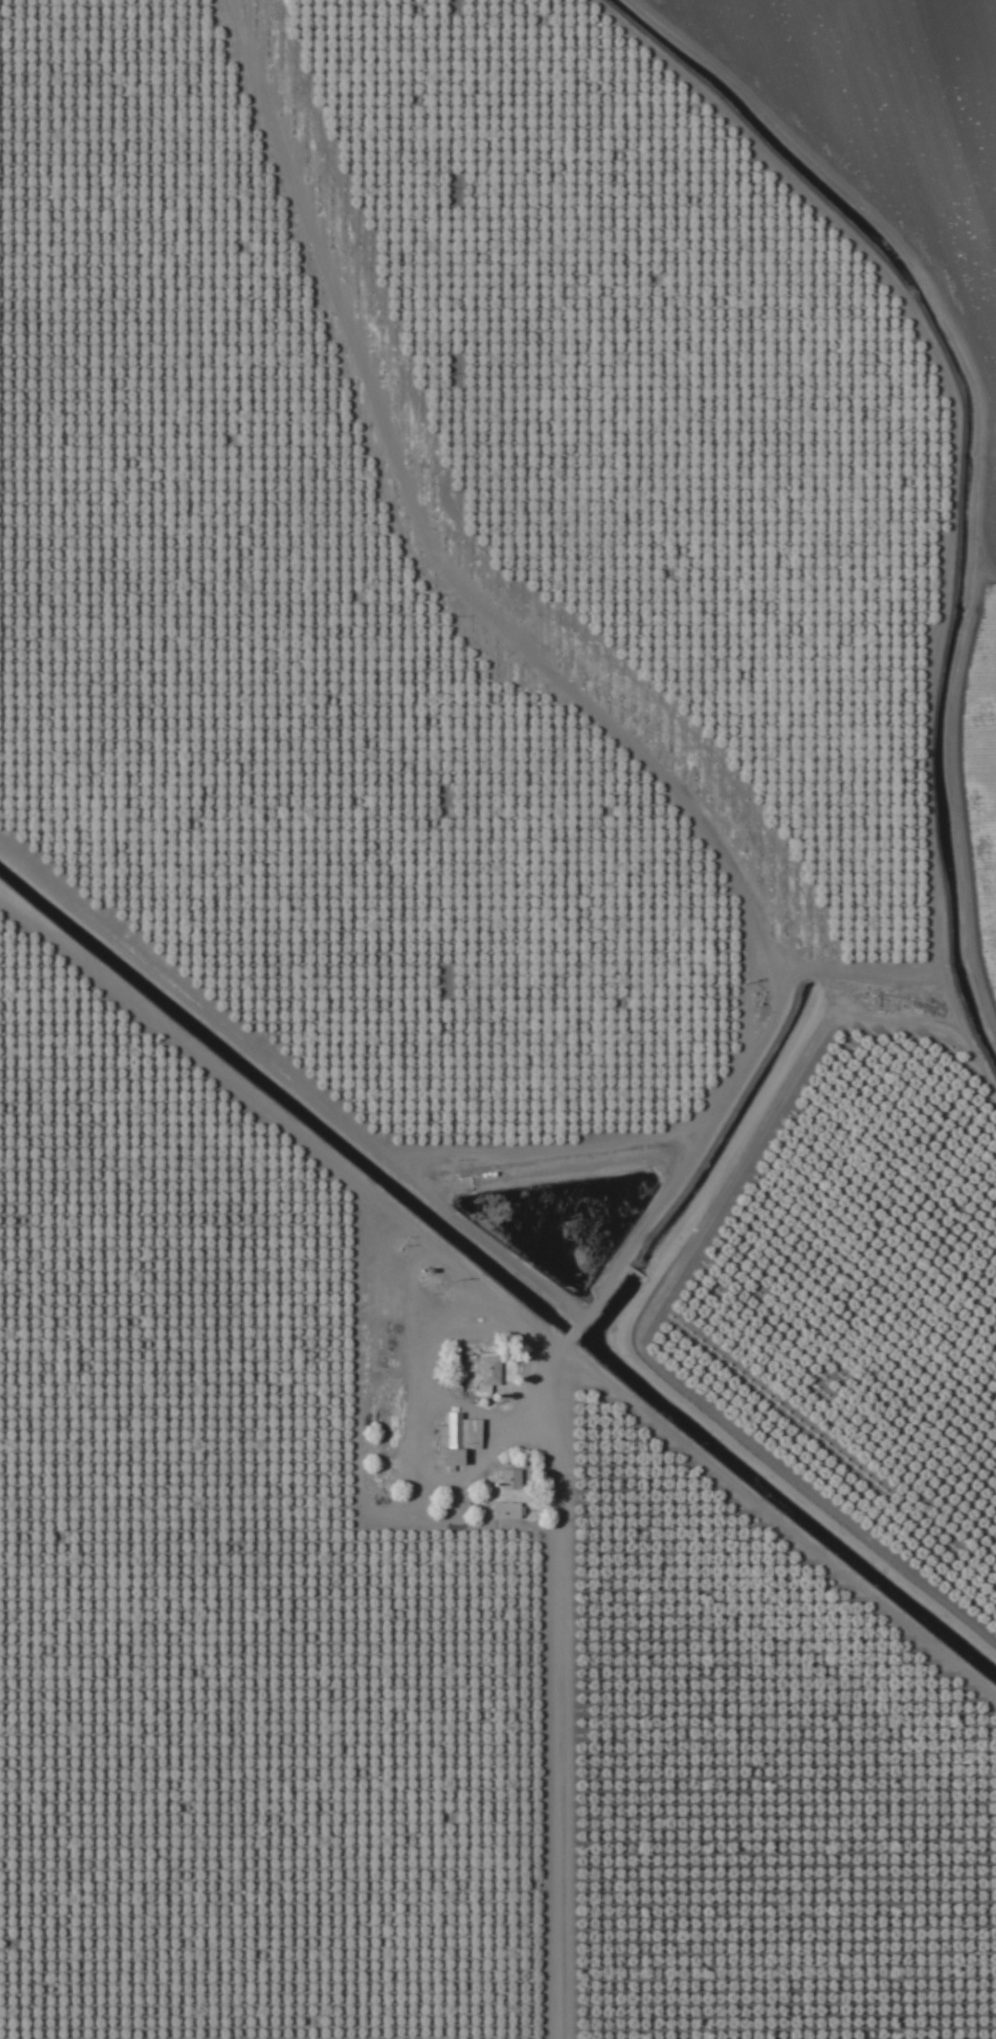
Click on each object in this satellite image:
road: (785, 964)
crop: (498, 1019)
building: (908, 1175)
building: (821, 1223)
building: (993, 1269)
building: (771, 1344)
building: (485, 1377)
building: (455, 1438)
building: (895, 1442)
building: (510, 1480)
building: (453, 1506)
building: (507, 1511)

